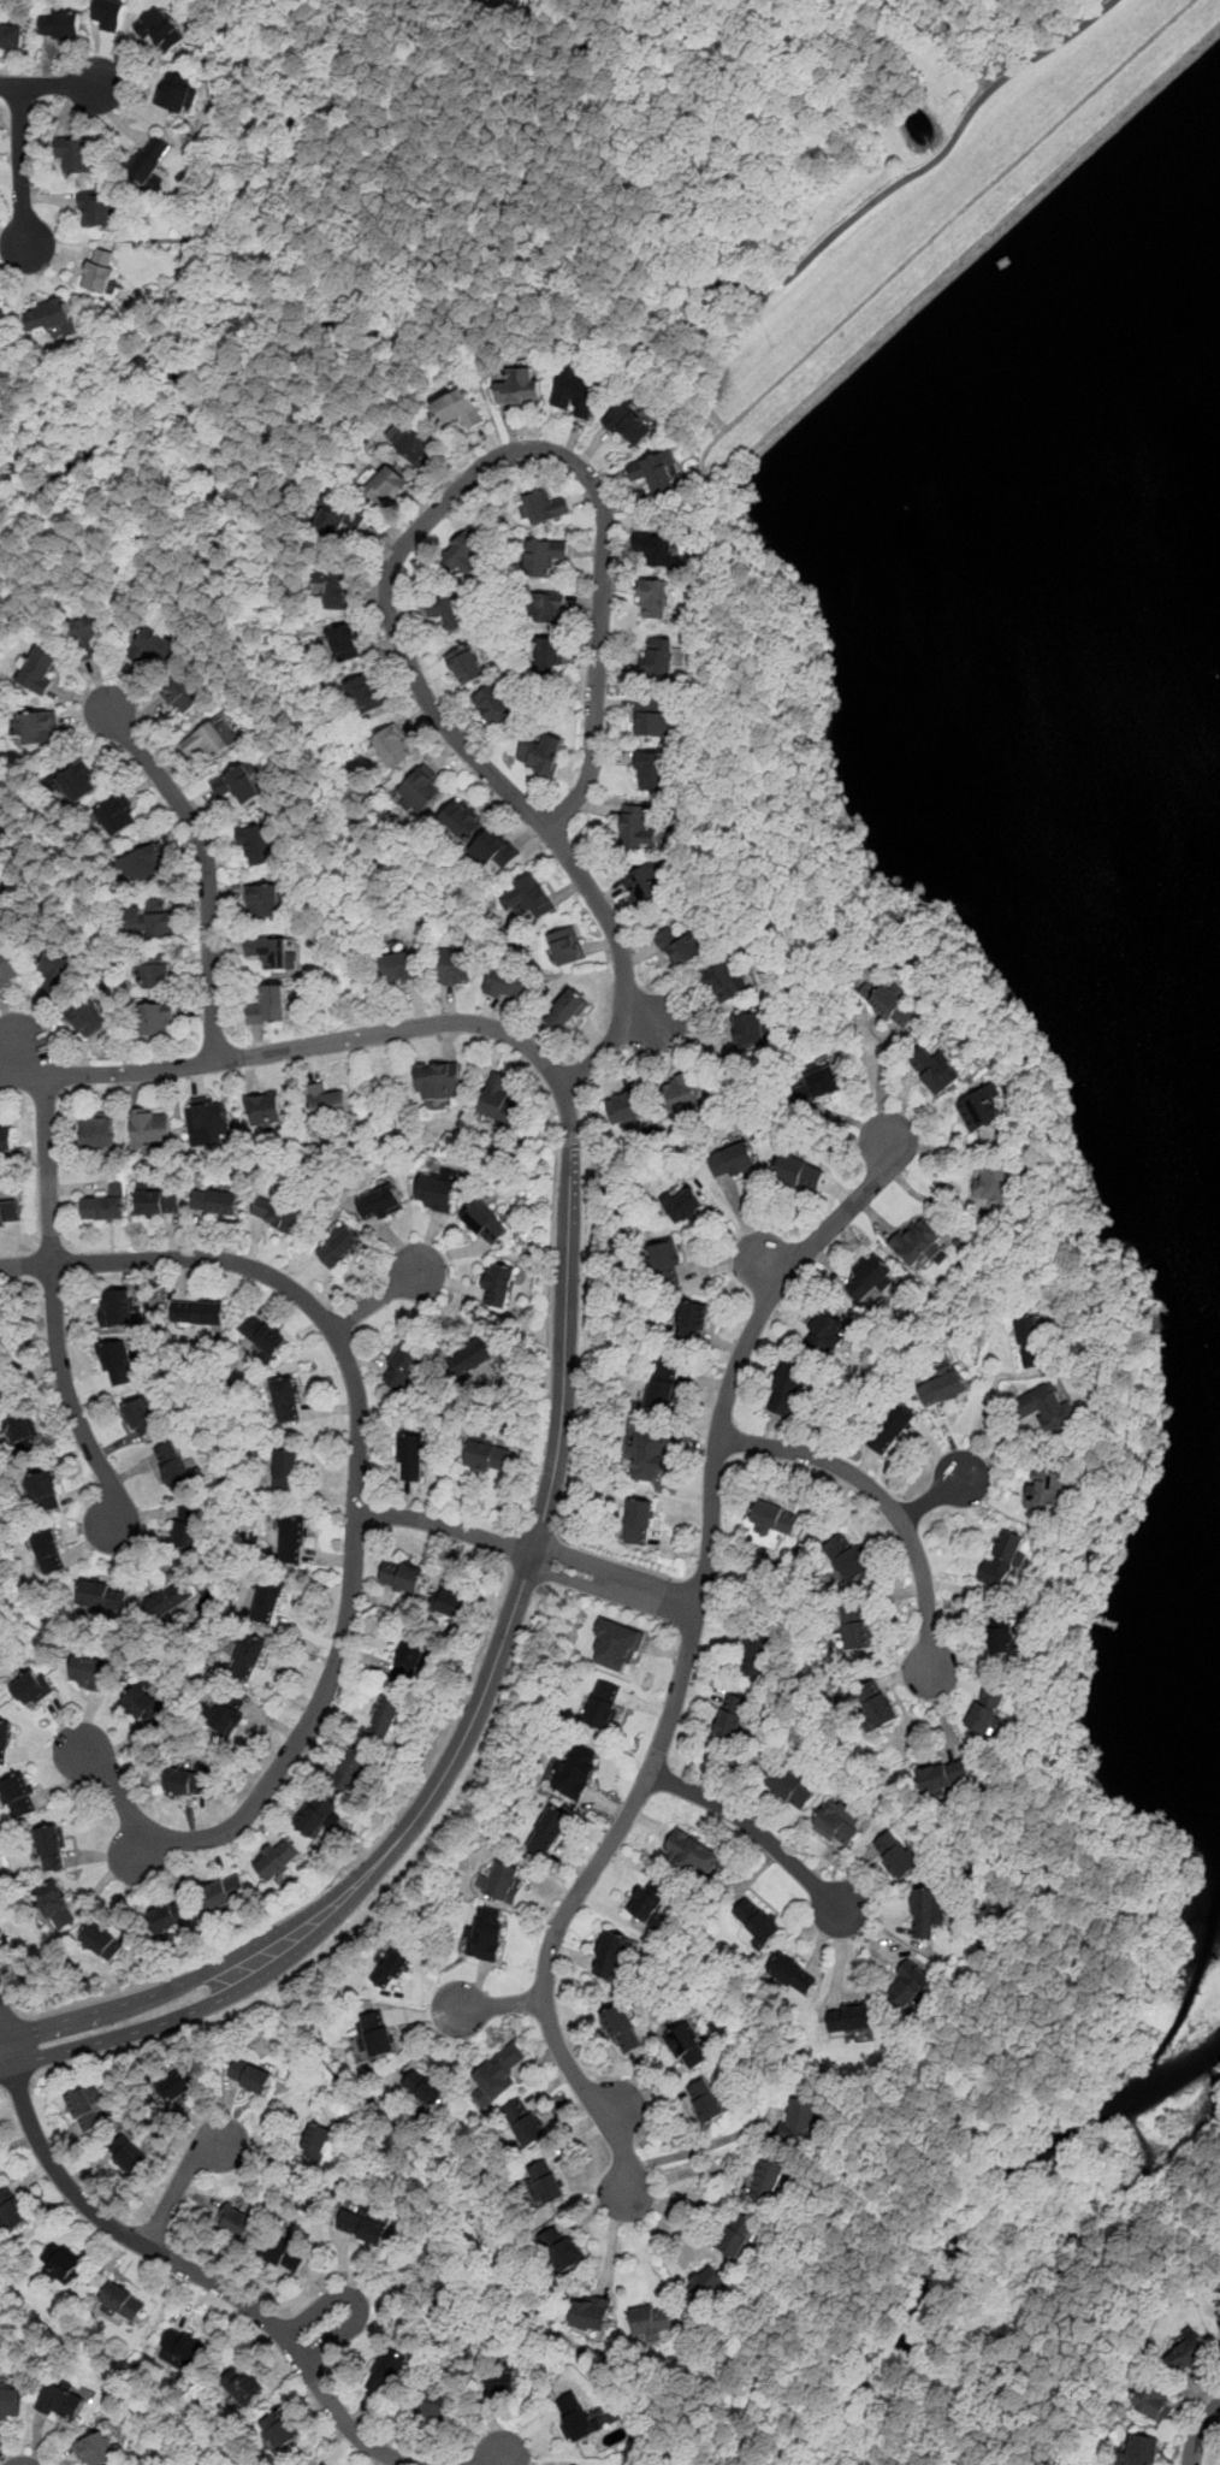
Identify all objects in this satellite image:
building: (109, 14)
building: (60, 24)
building: (161, 28)
building: (11, 35)
road: (934, 43)
road: (51, 85)
building: (174, 90)
road: (543, 120)
building: (76, 154)
building: (150, 160)
road: (22, 165)
building: (95, 207)
road: (567, 260)
building: (99, 270)
building: (1, 309)
building: (46, 317)
road: (496, 345)
road: (728, 348)
building: (520, 386)
building: (576, 391)
building: (458, 407)
building: (628, 424)
building: (419, 447)
building: (652, 472)
road: (472, 474)
building: (386, 487)
building: (545, 506)
building: (340, 519)
building: (657, 549)
building: (467, 550)
building: (545, 555)
building: (331, 587)
building: (653, 596)
building: (549, 605)
building: (452, 610)
building: (88, 637)
building: (155, 640)
building: (344, 644)
building: (550, 656)
building: (658, 656)
building: (466, 666)
building: (40, 670)
building: (184, 696)
building: (365, 696)
building: (493, 707)
building: (653, 715)
building: (39, 729)
building: (207, 739)
building: (391, 746)
building: (538, 755)
building: (651, 769)
building: (78, 782)
building: (238, 785)
building: (419, 792)
building: (117, 817)
building: (460, 820)
building: (640, 826)
building: (0, 839)
building: (257, 845)
building: (496, 852)
road: (206, 863)
building: (147, 864)
building: (645, 881)
building: (0, 892)
building: (528, 900)
building: (262, 903)
park: (907, 911)
building: (149, 918)
building: (565, 945)
building: (679, 945)
building: (270, 953)
road: (622, 962)
building: (401, 965)
building: (457, 967)
building: (8, 968)
building: (55, 971)
building: (158, 971)
building: (726, 980)
building: (509, 982)
building: (894, 1004)
building: (268, 1005)
building: (565, 1009)
building: (88, 1018)
building: (158, 1019)
building: (748, 1028)
road: (324, 1042)
road: (18, 1053)
building: (935, 1069)
building: (439, 1081)
building: (821, 1084)
building: (681, 1088)
building: (501, 1100)
building: (628, 1103)
building: (327, 1104)
building: (981, 1109)
building: (265, 1110)
building: (211, 1122)
road: (1046, 1127)
building: (150, 1129)
building: (97, 1133)
building: (7, 1139)
building: (734, 1159)
building: (799, 1172)
building: (991, 1182)
building: (437, 1193)
building: (159, 1201)
building: (215, 1202)
building: (379, 1204)
building: (682, 1204)
building: (105, 1206)
building: (10, 1213)
building: (276, 1213)
building: (485, 1224)
building: (917, 1242)
building: (339, 1248)
building: (664, 1264)
building: (871, 1277)
building: (498, 1287)
road: (379, 1296)
building: (117, 1308)
road: (55, 1310)
building: (200, 1313)
building: (693, 1319)
building: (825, 1329)
road: (750, 1335)
building: (262, 1336)
road: (549, 1338)
building: (1030, 1340)
building: (473, 1355)
building: (117, 1364)
building: (405, 1367)
building: (2, 1381)
building: (943, 1388)
building: (787, 1389)
building: (662, 1397)
building: (286, 1401)
road: (989, 1407)
building: (1049, 1408)
building: (142, 1417)
building: (890, 1426)
building: (22, 1434)
building: (487, 1456)
building: (411, 1458)
building: (650, 1458)
building: (174, 1465)
building: (286, 1472)
building: (46, 1490)
building: (1044, 1490)
road: (882, 1497)
road: (932, 1497)
building: (774, 1518)
building: (639, 1520)
building: (188, 1526)
road: (355, 1526)
road: (446, 1526)
road: (538, 1532)
building: (291, 1538)
road: (519, 1549)
building: (49, 1551)
building: (847, 1559)
building: (1003, 1559)
building: (402, 1578)
road: (615, 1583)
building: (103, 1597)
building: (171, 1601)
building: (268, 1602)
building: (448, 1604)
building: (858, 1630)
building: (1001, 1635)
building: (616, 1645)
building: (756, 1653)
building: (249, 1657)
building: (408, 1662)
building: (90, 1673)
building: (30, 1689)
building: (603, 1706)
building: (146, 1707)
building: (987, 1707)
building: (881, 1708)
building: (230, 1715)
building: (732, 1715)
building: (385, 1718)
building: (5, 1739)
building: (350, 1769)
building: (575, 1771)
building: (943, 1775)
building: (188, 1781)
building: (790, 1787)
building: (18, 1796)
building: (315, 1815)
building: (839, 1822)
road: (756, 1828)
building: (549, 1831)
building: (51, 1846)
building: (693, 1852)
building: (895, 1855)
building: (276, 1860)
road: (340, 1872)
building: (499, 1881)
building: (225, 1893)
building: (649, 1902)
building: (55, 1904)
road: (568, 1904)
building: (928, 1913)
building: (172, 1914)
building: (757, 1920)
building: (484, 1933)
building: (103, 1939)
building: (609, 1953)
building: (391, 1969)
building: (793, 1973)
road: (194, 1975)
road: (8, 1985)
building: (908, 1987)
road: (498, 2003)
road: (209, 2004)
road: (11, 2017)
building: (849, 2017)
road: (1, 2028)
building: (622, 2028)
road: (1, 2035)
building: (375, 2035)
building: (687, 2046)
road: (7, 2050)
road: (6, 2067)
building: (498, 2073)
building: (250, 2076)
building: (178, 2087)
building: (425, 2089)
building: (705, 2100)
building: (87, 2109)
building: (800, 2121)
building: (526, 2122)
building: (314, 2141)
road: (699, 2147)
building: (128, 2154)
building: (769, 2181)
road: (179, 2182)
building: (543, 2183)
building: (12, 2209)
building: (235, 2222)
building: (362, 2228)
building: (734, 2235)
building: (561, 2250)
building: (285, 2254)
building: (60, 2264)
road: (203, 2277)
building: (703, 2287)
road: (359, 2299)
building: (442, 2299)
building: (122, 2303)
building: (591, 2313)
building: (1219, 2316)
building: (651, 2319)
road: (1104, 2325)
building: (179, 2351)
building: (1189, 2354)
building: (386, 2372)
building: (499, 2381)
building: (244, 2388)
building: (10, 2401)
building: (64, 2401)
building: (1153, 2404)
building: (431, 2405)
building: (575, 2416)
road: (1200, 2431)
building: (282, 2433)
building: (96, 2451)
building: (1142, 2451)
road: (502, 2457)
building: (318, 2463)

